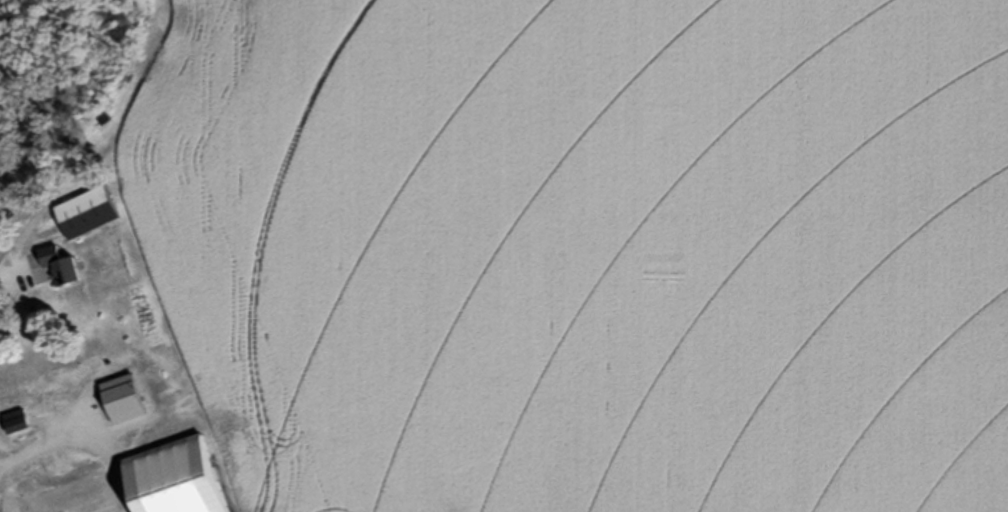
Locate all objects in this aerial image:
building: (89, 211)
building: (62, 266)
road: (17, 286)
building: (113, 396)
building: (53, 398)
building: (16, 420)
building: (177, 477)
building: (82, 495)

